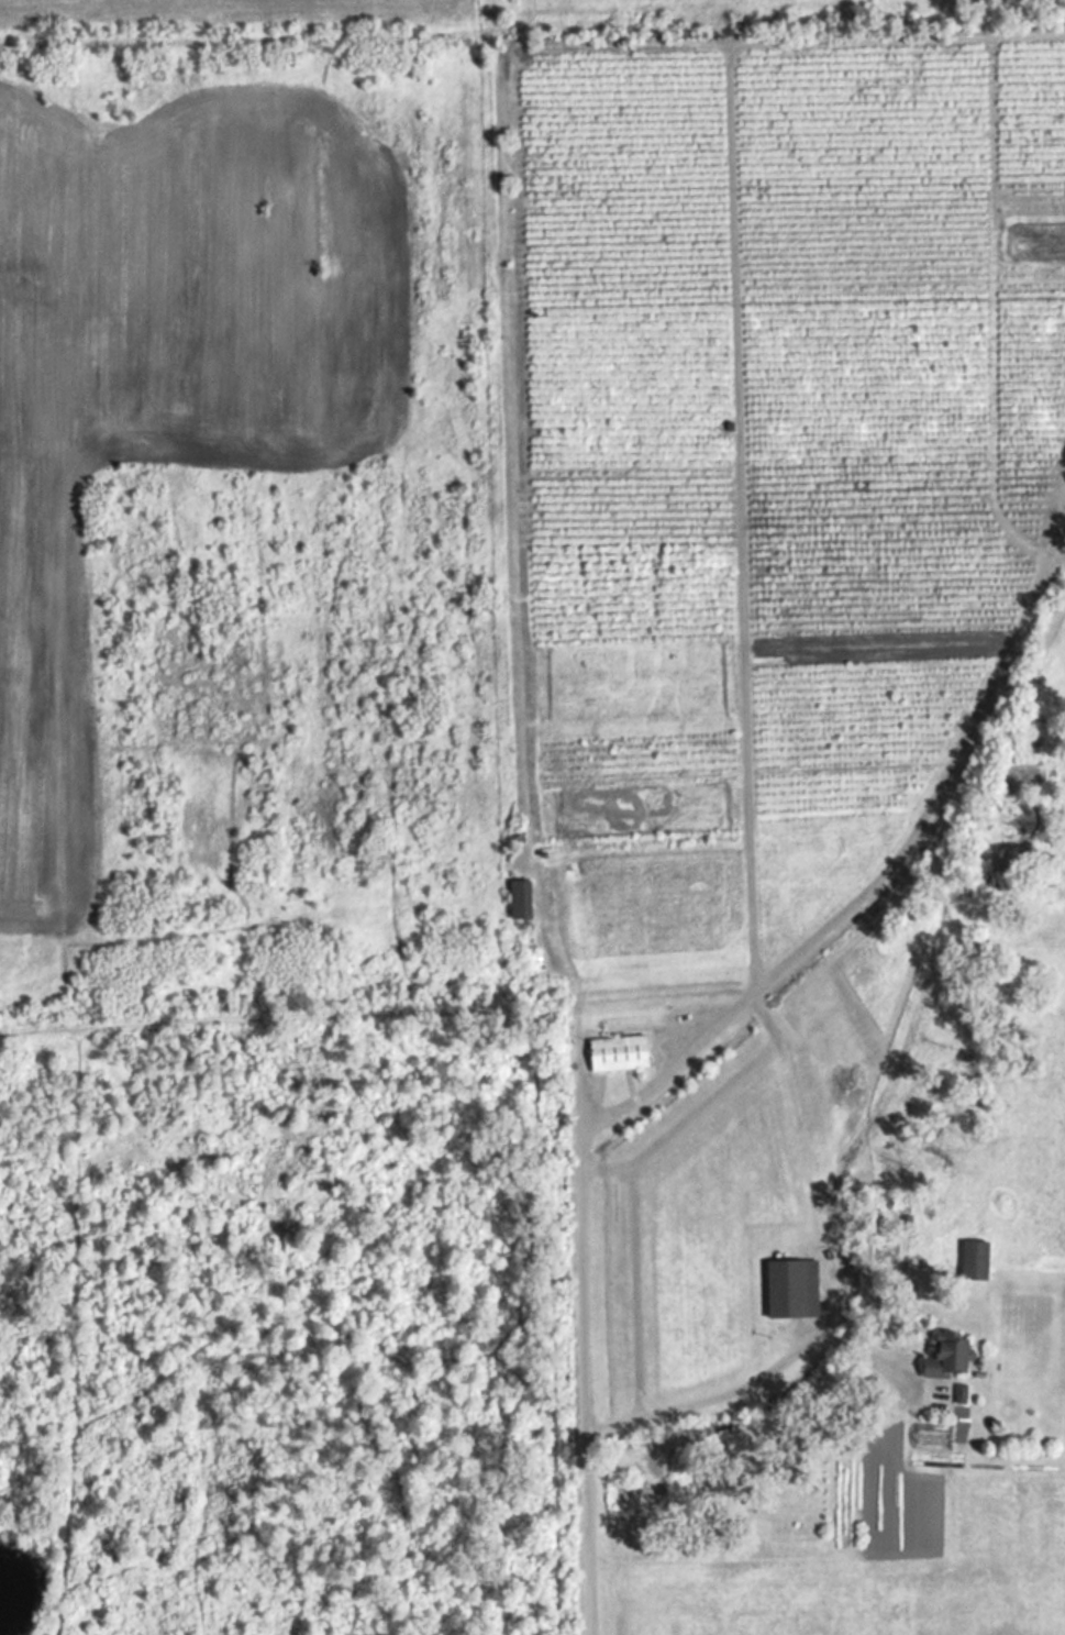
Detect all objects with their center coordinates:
building: (525, 901)
building: (623, 1054)
road: (588, 1249)
building: (978, 1261)
building: (798, 1289)
building: (952, 1359)
road: (680, 1406)

